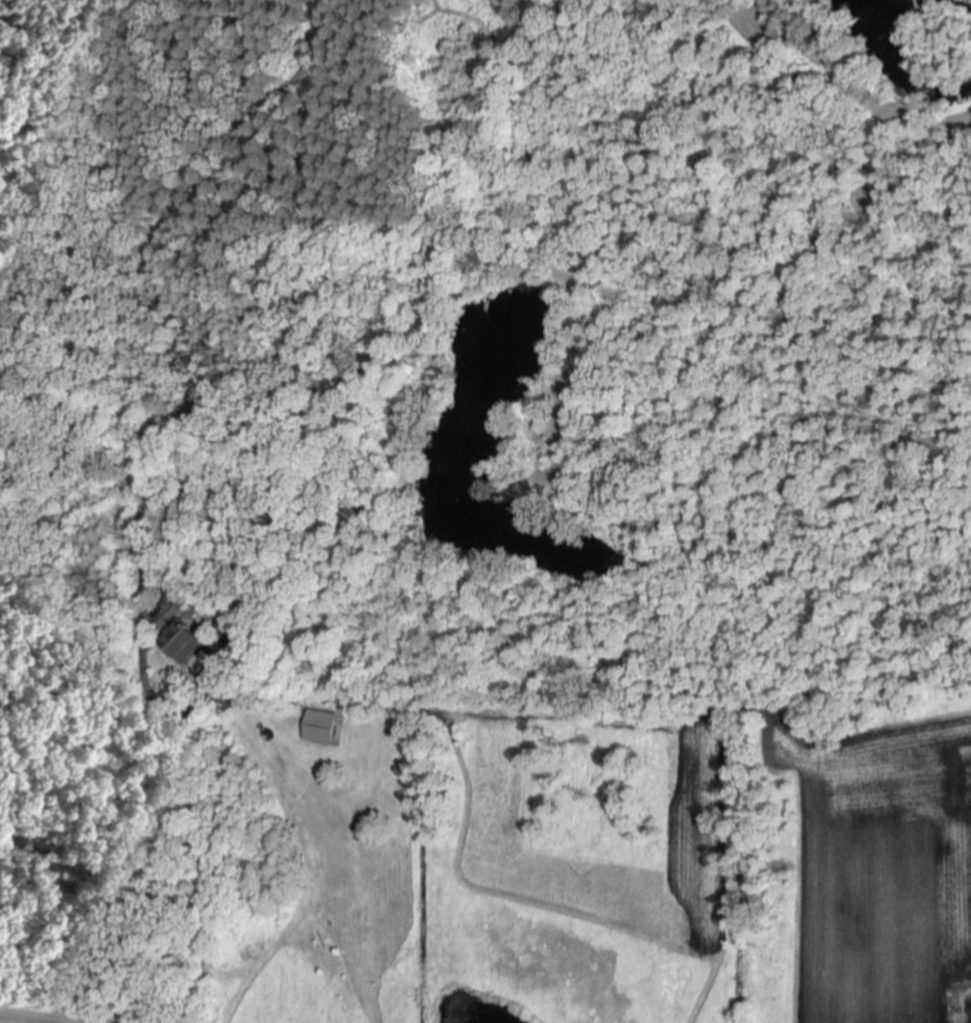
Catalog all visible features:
building: (232, 629)
building: (180, 641)

